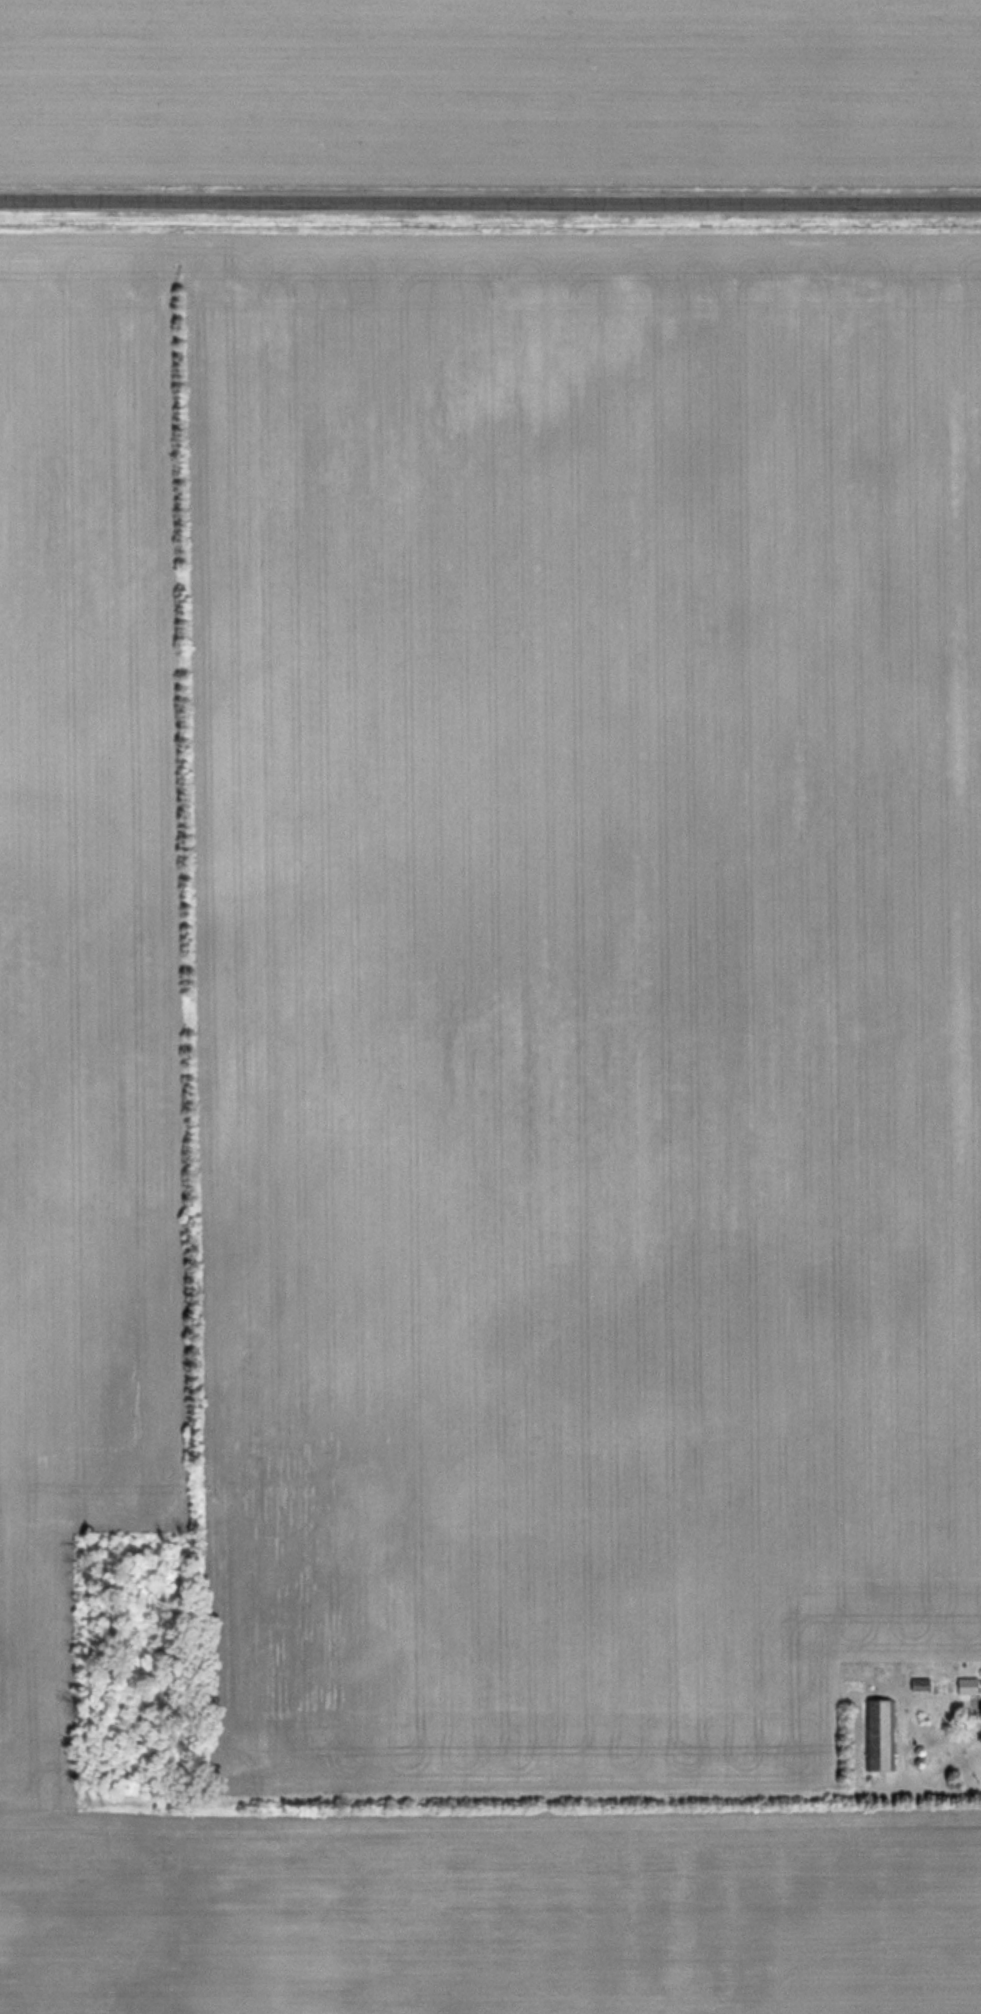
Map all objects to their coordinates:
road: (490, 209)
building: (921, 1683)
building: (969, 1685)
road: (902, 1729)
building: (880, 1734)

